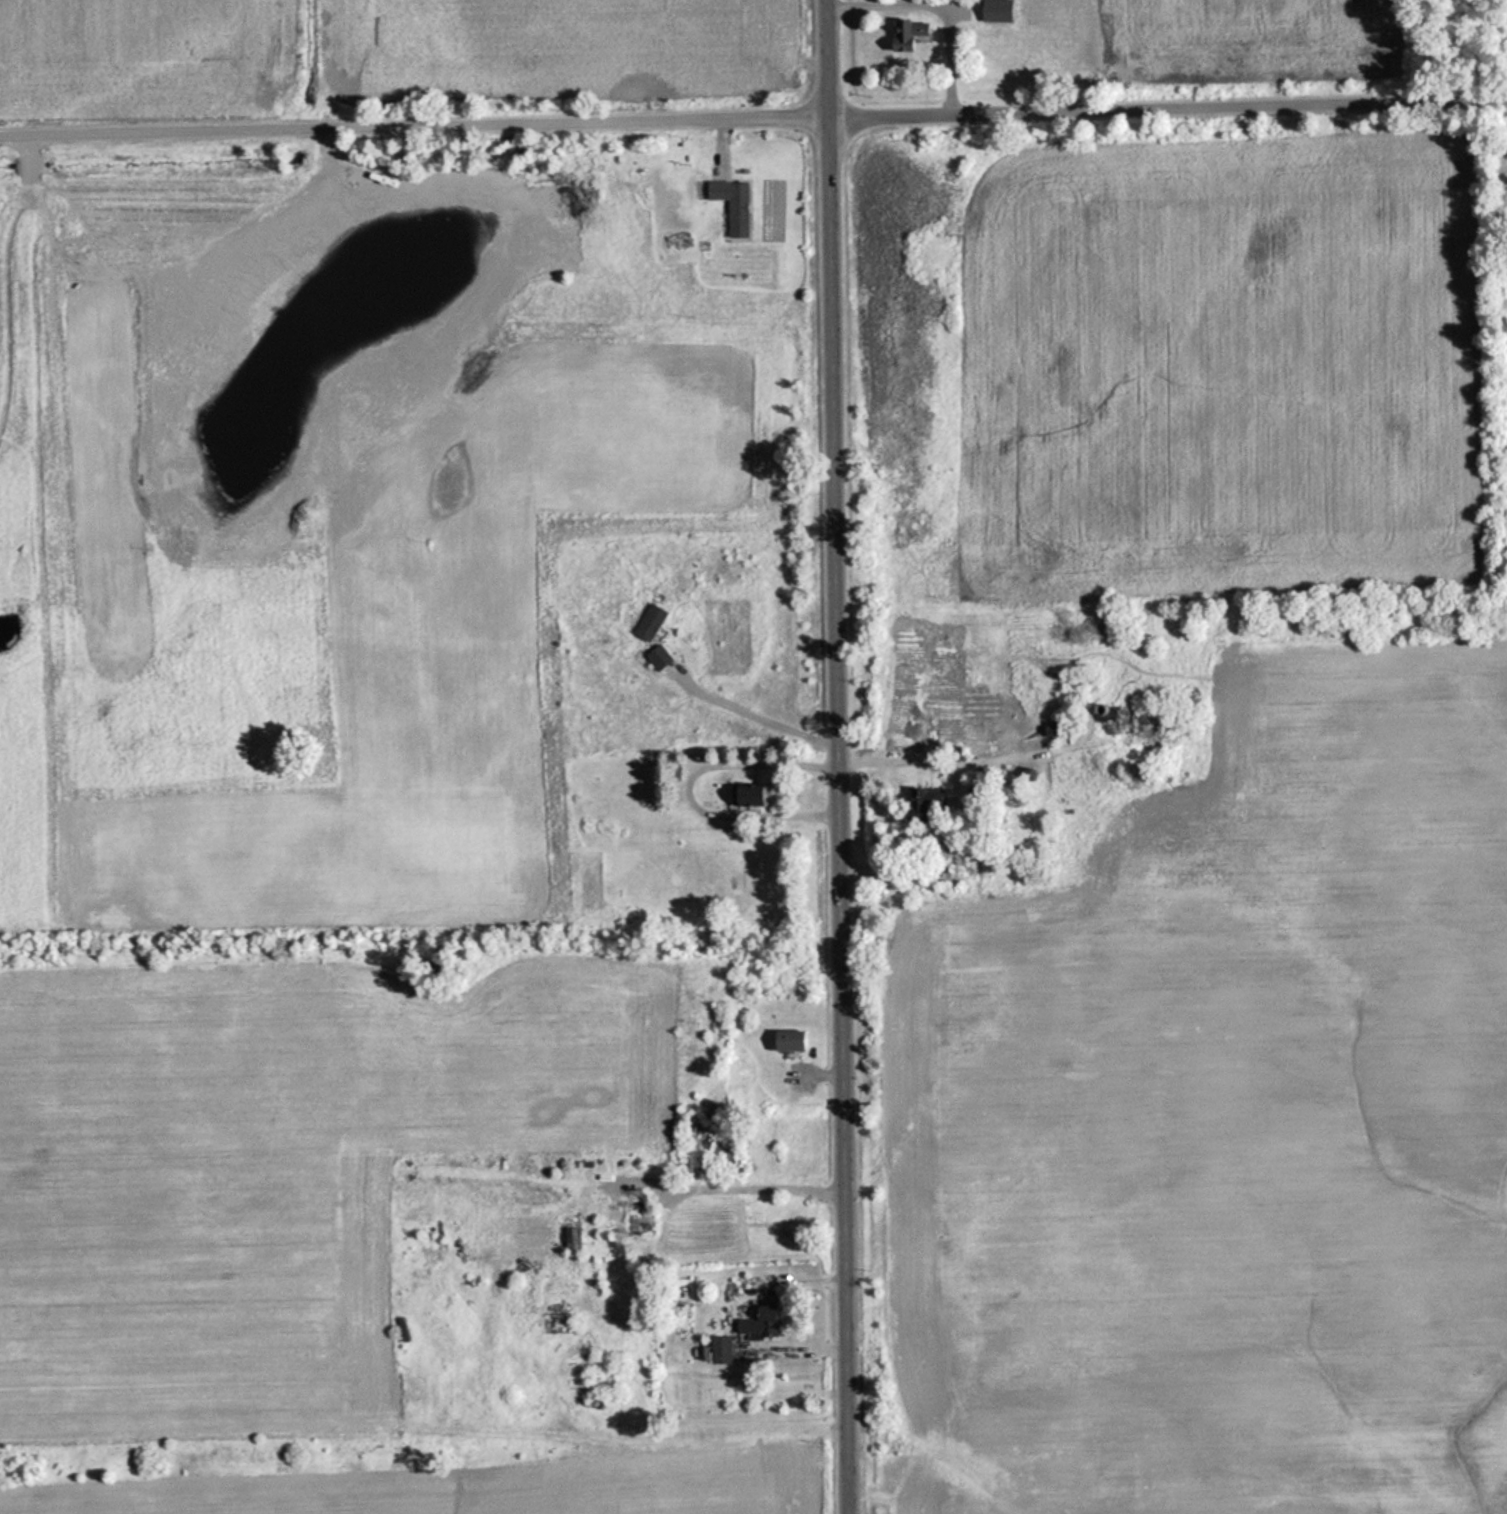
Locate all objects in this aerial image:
building: (904, 32)
road: (753, 120)
park: (1504, 193)
building: (730, 203)
building: (647, 621)
building: (655, 656)
building: (1127, 723)
building: (1048, 731)
road: (839, 756)
building: (744, 796)
building: (923, 800)
building: (784, 1041)
building: (633, 1213)
building: (566, 1237)
building: (758, 1319)
building: (399, 1327)
building: (715, 1348)

